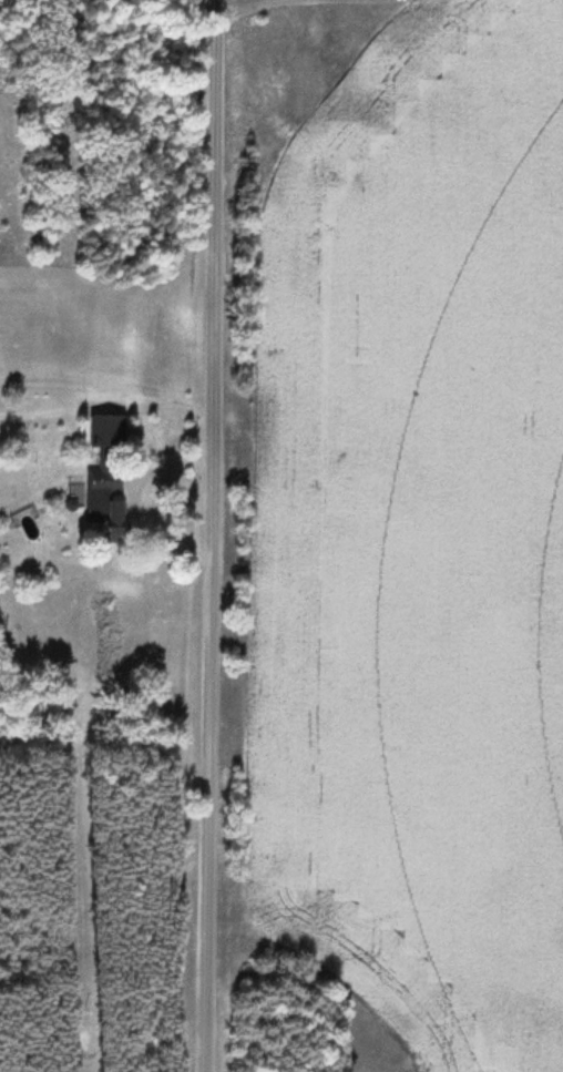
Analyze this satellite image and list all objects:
building: (105, 426)
building: (106, 500)
road: (208, 535)

